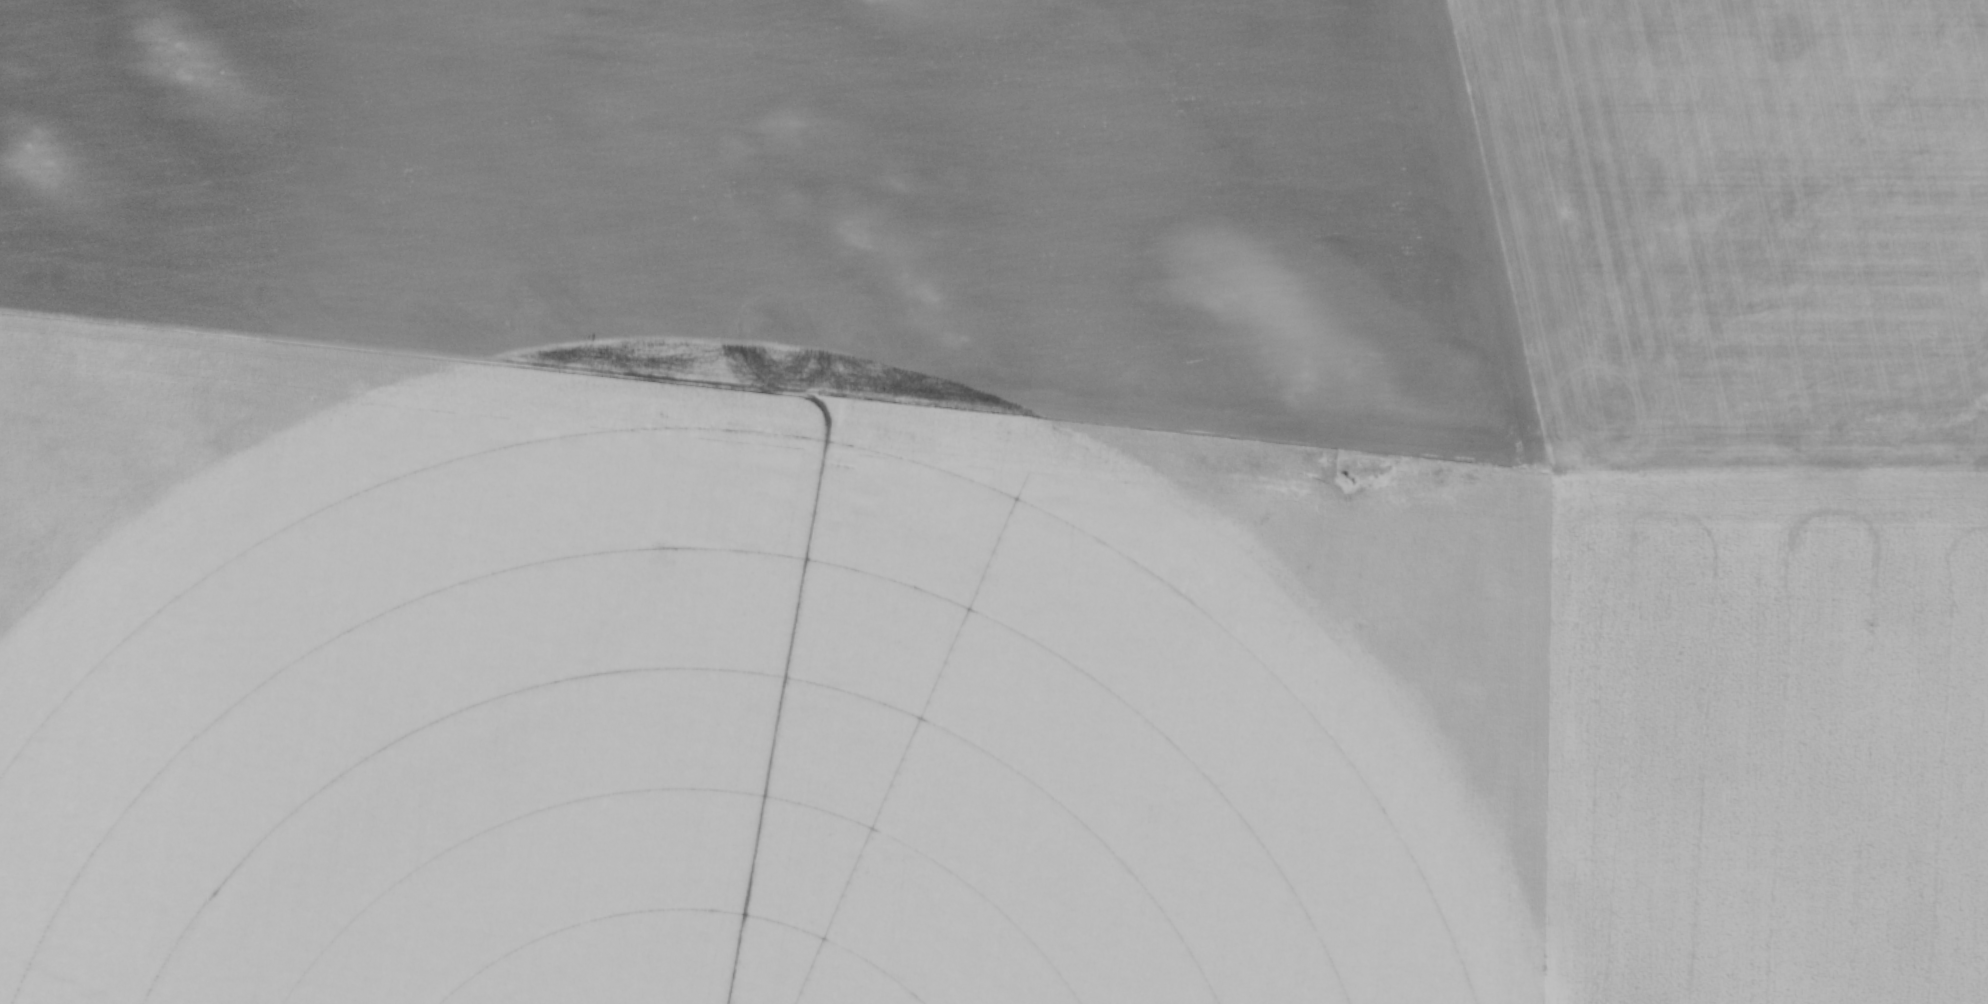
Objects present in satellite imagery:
crop: (994, 502)

